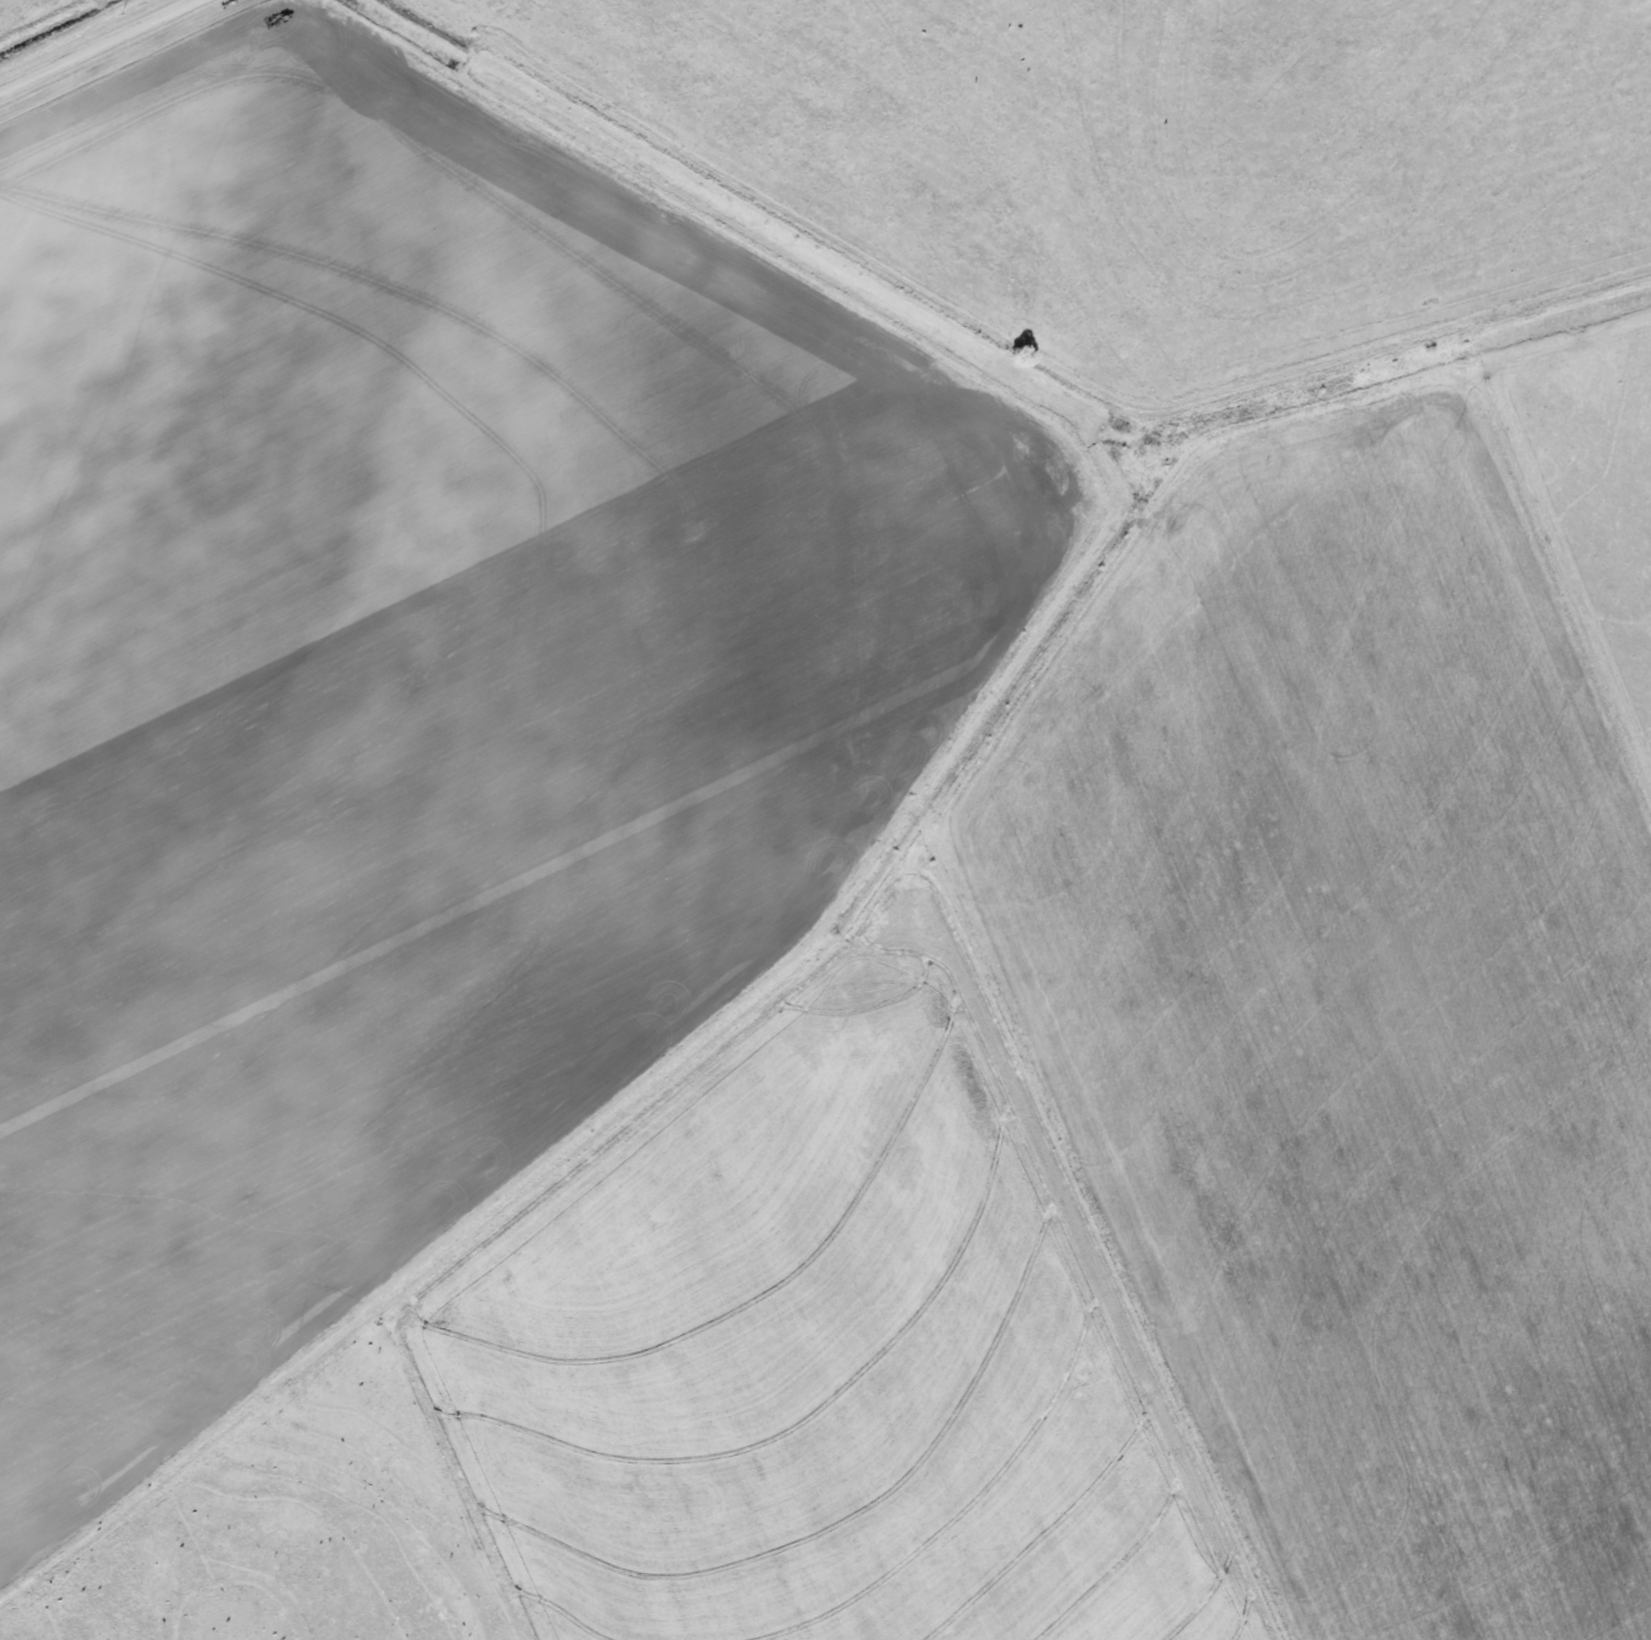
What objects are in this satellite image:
road: (91, 42)

